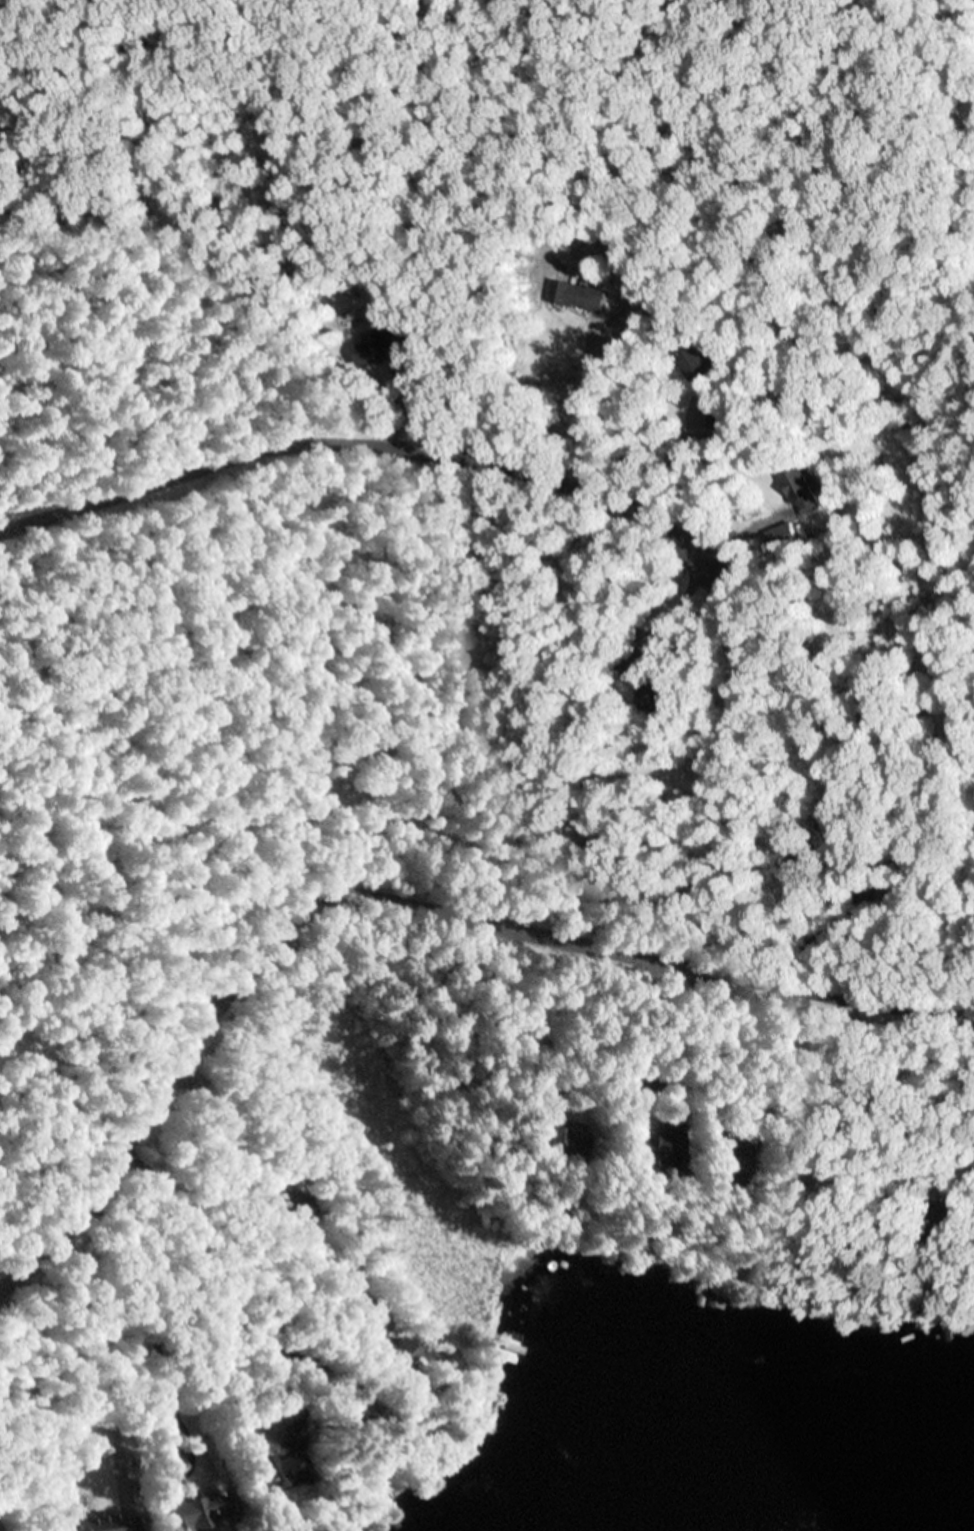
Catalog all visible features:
building: (132, 18)
building: (204, 196)
building: (580, 297)
building: (395, 338)
building: (699, 364)
building: (723, 415)
road: (367, 445)
building: (803, 490)
building: (788, 533)
building: (646, 685)
building: (781, 763)
building: (827, 820)
building: (799, 862)
building: (897, 893)
road: (389, 905)
building: (632, 1082)
building: (566, 1140)
building: (783, 1144)
building: (655, 1147)
building: (734, 1167)
building: (299, 1209)
building: (938, 1220)
building: (574, 1240)
building: (392, 1364)
building: (1, 1394)
building: (146, 1394)
building: (357, 1411)
building: (287, 1458)
building: (379, 1491)
building: (195, 1512)
building: (109, 1523)

